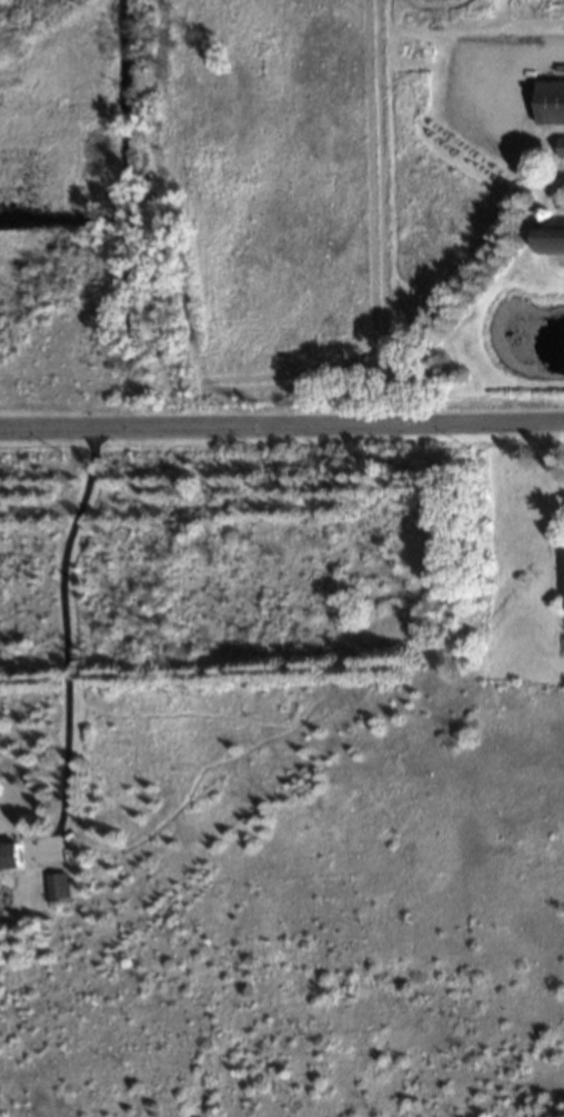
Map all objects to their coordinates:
building: (551, 104)
building: (562, 149)
building: (551, 240)
road: (282, 429)
road: (66, 637)
building: (9, 858)
building: (58, 889)

